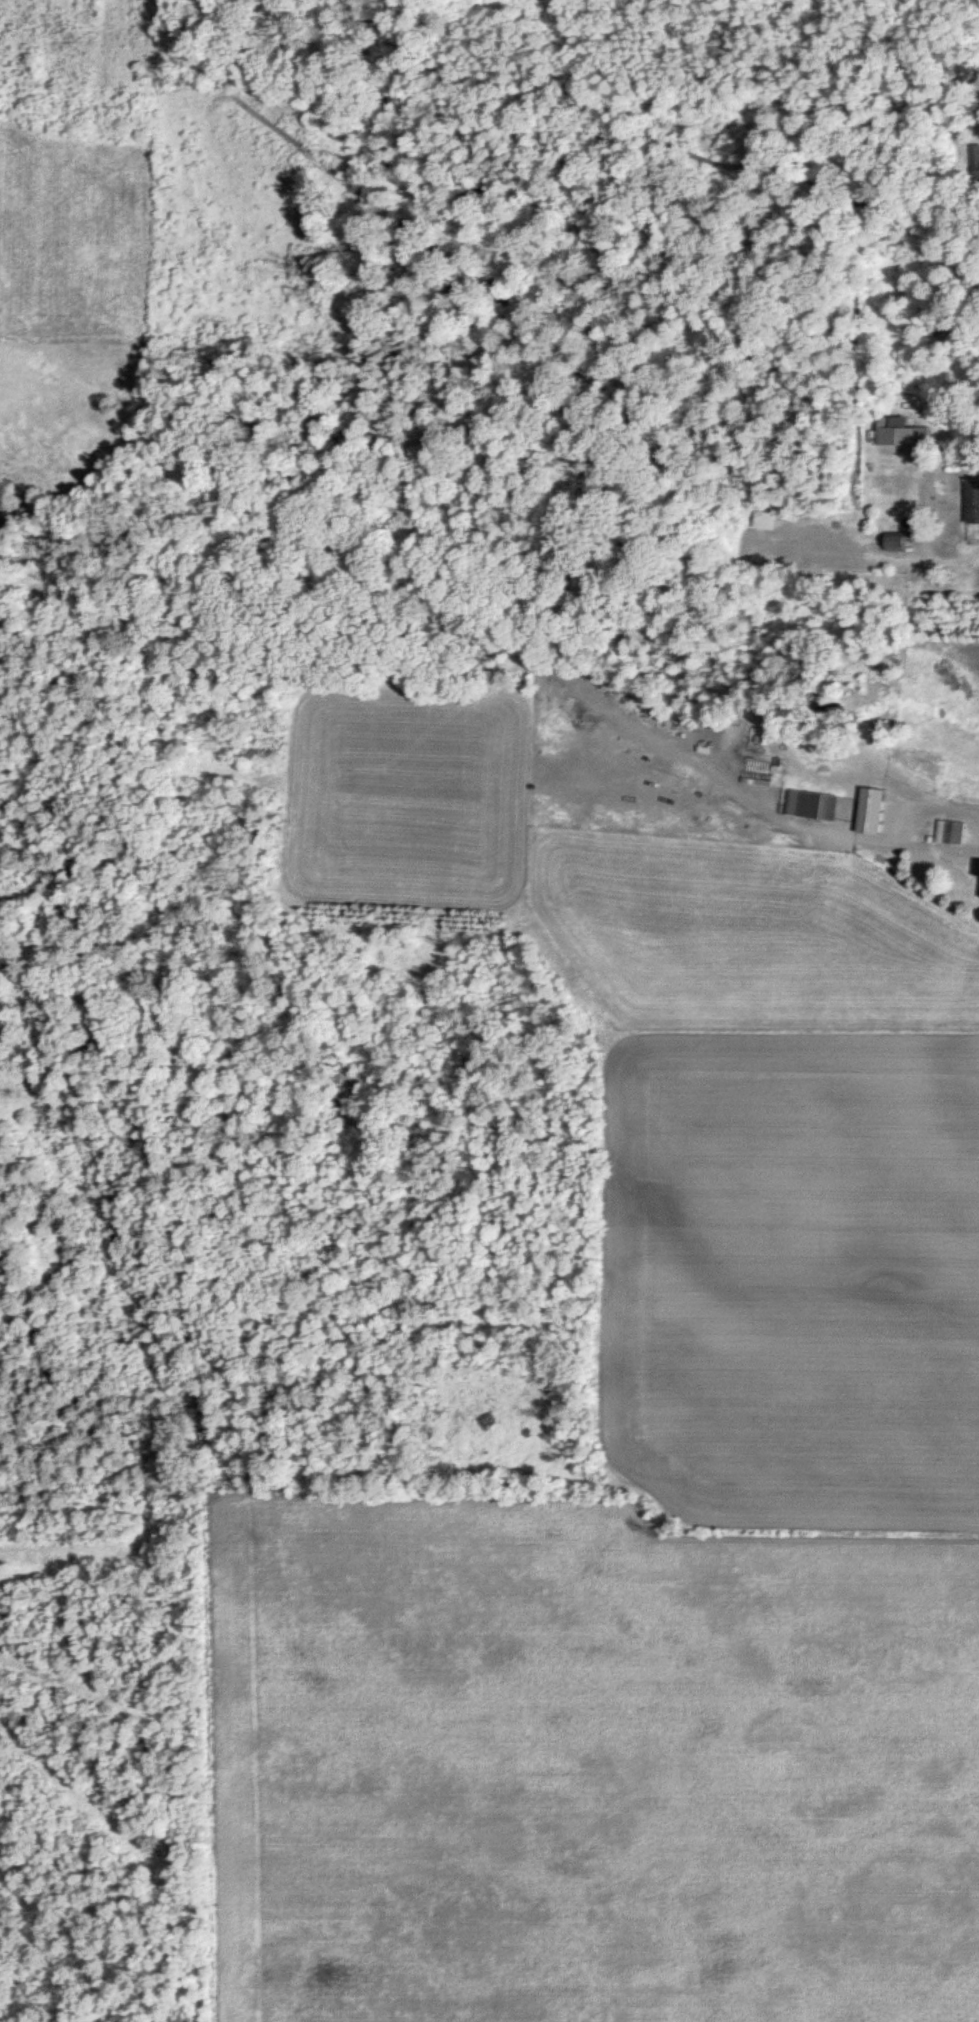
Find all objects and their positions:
building: (970, 71)
building: (976, 160)
building: (905, 433)
building: (976, 502)
building: (768, 520)
building: (902, 541)
building: (829, 807)
building: (876, 811)
building: (955, 833)

